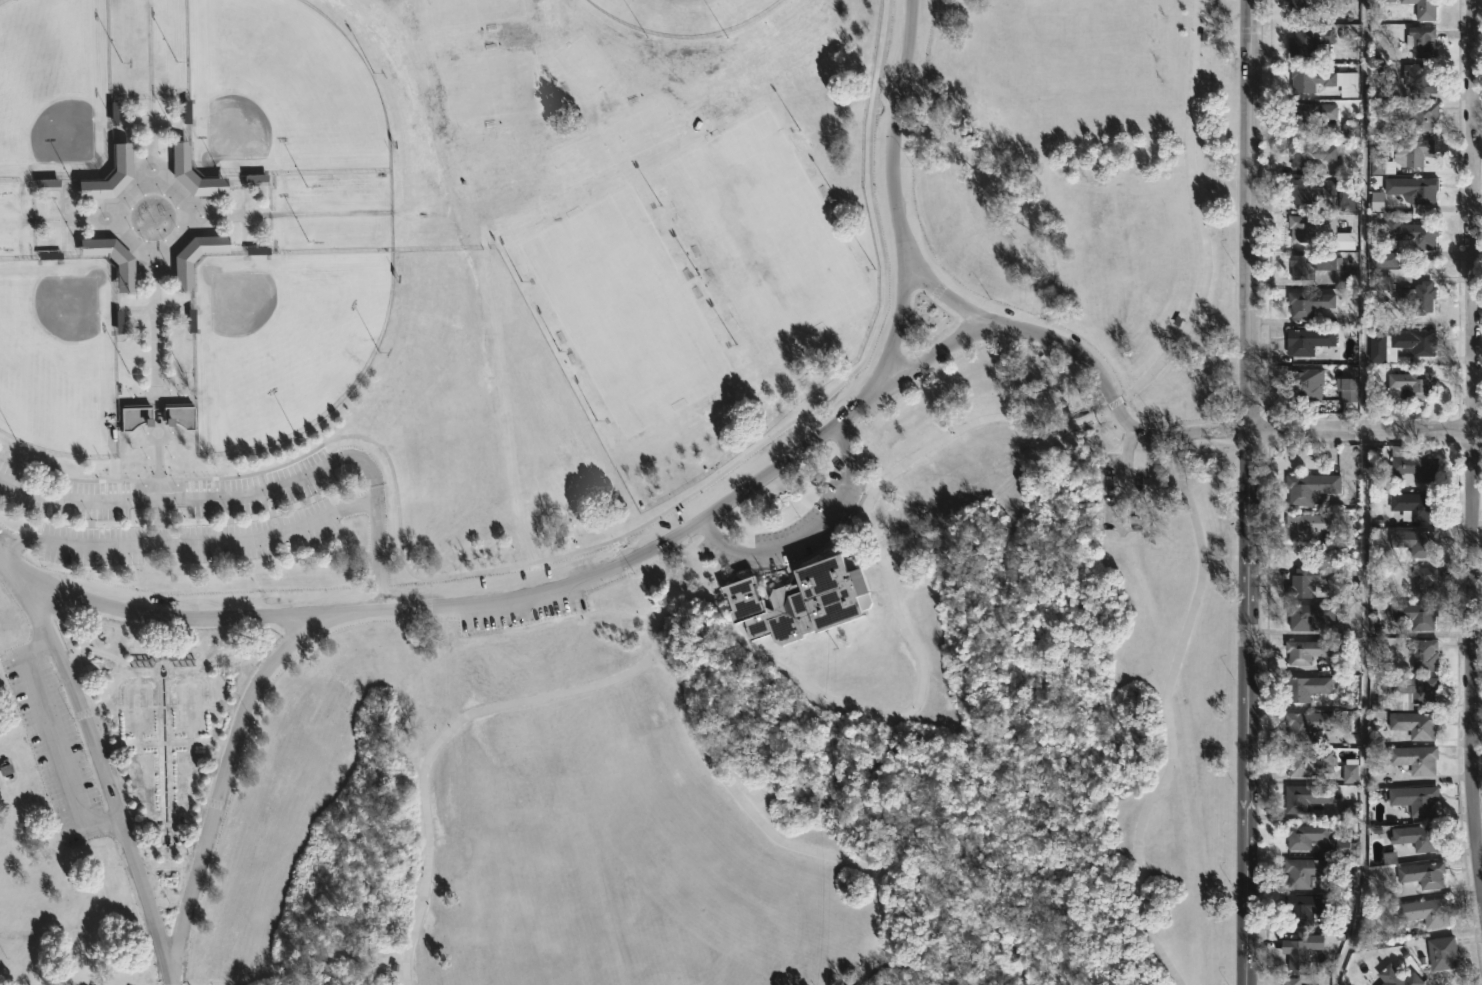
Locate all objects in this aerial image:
building: (1302, 7)
building: (1423, 8)
park: (470, 11)
park: (683, 14)
building: (1308, 40)
building: (1420, 41)
park: (583, 69)
building: (1308, 78)
building: (1420, 78)
park: (490, 87)
park: (53, 89)
building: (1381, 90)
park: (277, 92)
building: (1309, 115)
building: (1424, 116)
park: (641, 128)
building: (1350, 130)
building: (1311, 152)
building: (1412, 152)
park: (580, 158)
building: (191, 173)
building: (108, 174)
building: (1412, 188)
building: (1315, 191)
building: (1347, 201)
building: (1377, 201)
building: (1308, 226)
building: (1411, 232)
park: (764, 233)
road: (206, 234)
building: (1344, 241)
building: (193, 255)
building: (109, 257)
building: (1386, 259)
building: (1320, 268)
building: (1380, 283)
road: (938, 290)
building: (1417, 297)
building: (1310, 302)
park: (625, 310)
park: (282, 340)
building: (1307, 340)
building: (1414, 341)
building: (1379, 349)
park: (58, 356)
road: (930, 360)
building: (1409, 383)
building: (1305, 385)
building: (1347, 388)
road: (1118, 410)
road: (155, 412)
building: (132, 414)
building: (178, 415)
road: (963, 426)
road: (1364, 433)
road: (1472, 440)
building: (1410, 466)
road: (1120, 476)
building: (1308, 487)
road: (260, 490)
park: (615, 492)
park: (618, 492)
road: (1246, 492)
parking lot: (1120, 494)
road: (1365, 495)
building: (1414, 506)
building: (1307, 525)
road: (808, 529)
road: (185, 541)
building: (1414, 542)
road: (583, 548)
road: (650, 551)
building: (1304, 581)
building: (1424, 582)
road: (714, 588)
building: (799, 601)
building: (1414, 614)
building: (1306, 615)
building: (1304, 651)
road: (1, 655)
building: (1423, 655)
road: (6, 681)
road: (1167, 685)
building: (1305, 688)
building: (1409, 693)
building: (1414, 724)
building: (1307, 725)
parking lot: (52, 737)
building: (1414, 759)
building: (1309, 762)
road: (423, 769)
building: (1349, 771)
road: (224, 778)
road: (105, 784)
building: (1307, 798)
building: (1415, 800)
road: (774, 837)
building: (1416, 837)
building: (1334, 841)
building: (1389, 858)
building: (1305, 872)
building: (1422, 875)
building: (1305, 909)
building: (1424, 913)
building: (1297, 951)
building: (1442, 953)
road: (406, 963)
road: (387, 972)
building: (1396, 977)
building: (1291, 981)
road: (172, 983)

